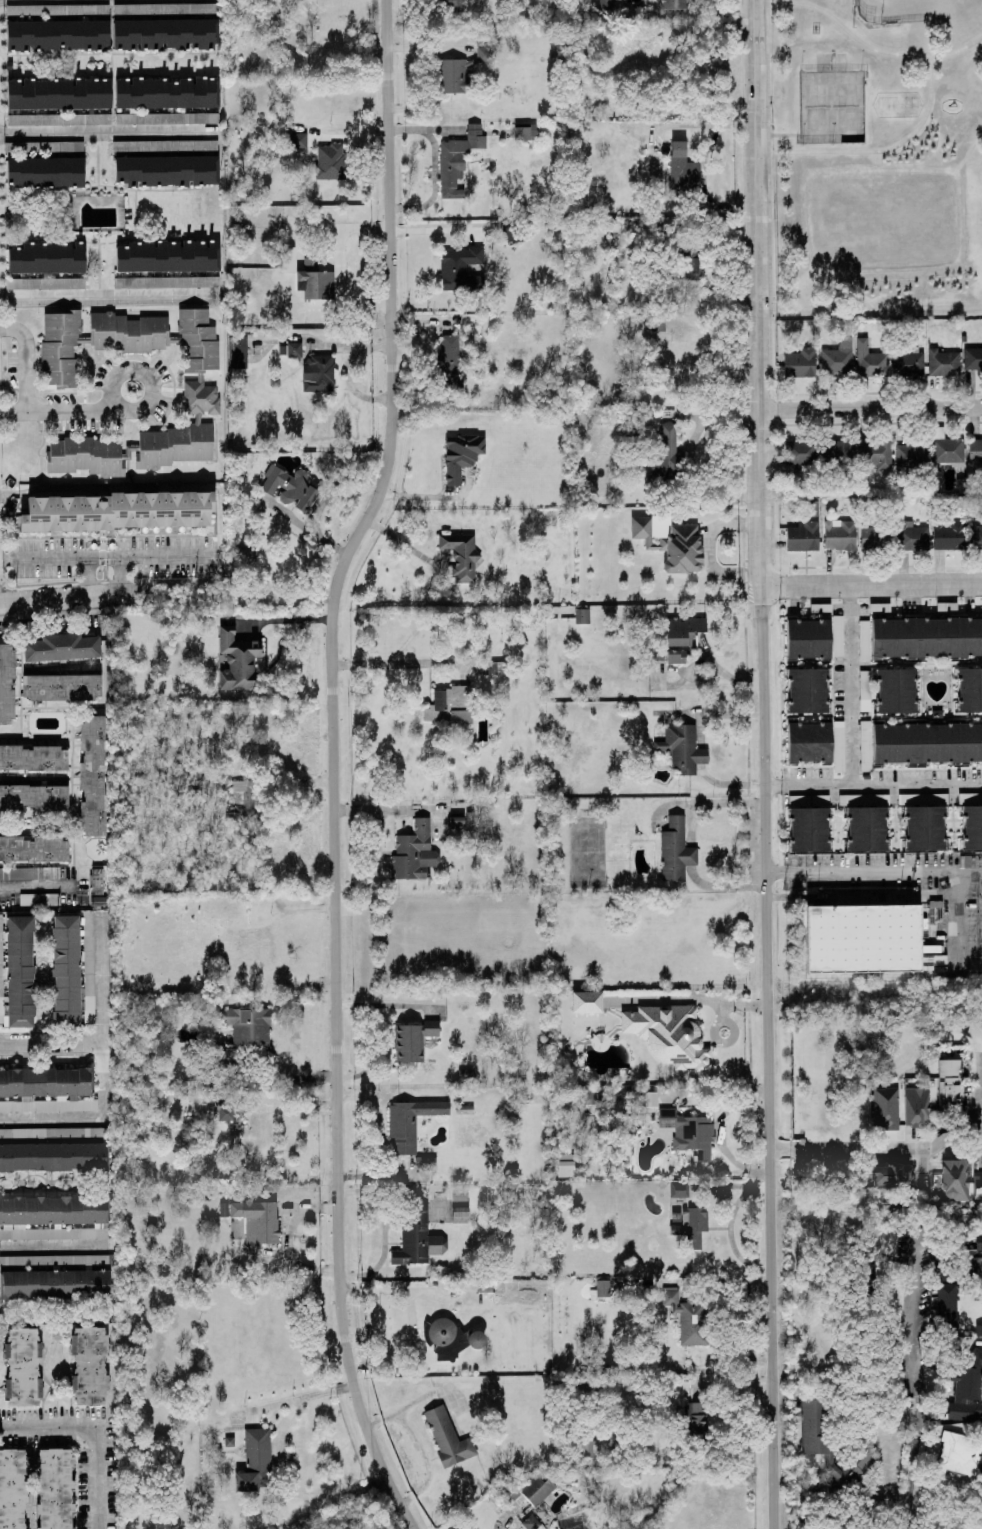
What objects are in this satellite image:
building: (672, 4)
building: (454, 5)
building: (165, 8)
building: (55, 9)
building: (164, 33)
road: (867, 45)
building: (462, 70)
building: (167, 92)
building: (59, 93)
park: (829, 106)
building: (113, 118)
road: (108, 130)
building: (525, 131)
road: (779, 133)
building: (296, 140)
building: (165, 145)
building: (43, 146)
road: (879, 150)
building: (457, 159)
park: (877, 159)
building: (330, 161)
road: (97, 162)
building: (167, 170)
building: (45, 171)
building: (683, 172)
road: (434, 230)
building: (512, 233)
building: (169, 255)
building: (288, 256)
building: (47, 257)
road: (98, 262)
building: (688, 264)
building: (460, 268)
building: (166, 281)
building: (315, 281)
building: (45, 283)
road: (109, 295)
building: (294, 349)
building: (237, 351)
building: (837, 358)
building: (973, 358)
building: (870, 359)
building: (450, 360)
building: (800, 362)
building: (943, 362)
building: (908, 363)
building: (318, 372)
building: (202, 400)
road: (873, 406)
road: (14, 409)
road: (34, 409)
building: (946, 447)
building: (800, 452)
building: (975, 452)
building: (666, 453)
building: (461, 454)
building: (911, 454)
building: (290, 487)
building: (117, 510)
building: (839, 534)
building: (949, 534)
building: (802, 536)
building: (912, 536)
building: (975, 536)
building: (871, 537)
building: (671, 543)
building: (245, 554)
road: (115, 555)
building: (462, 555)
road: (122, 575)
road: (90, 576)
road: (873, 585)
road: (89, 597)
building: (947, 609)
building: (820, 610)
building: (880, 610)
building: (582, 615)
road: (286, 620)
building: (863, 629)
building: (837, 635)
building: (681, 636)
building: (926, 637)
building: (808, 639)
building: (62, 646)
building: (237, 660)
road: (381, 663)
building: (494, 667)
building: (6, 683)
road: (851, 685)
building: (61, 686)
building: (969, 689)
building: (807, 690)
building: (896, 690)
building: (456, 705)
building: (809, 742)
building: (927, 743)
building: (838, 745)
building: (682, 747)
building: (865, 751)
building: (33, 758)
road: (765, 764)
road: (333, 765)
building: (93, 774)
road: (873, 784)
building: (34, 796)
building: (905, 797)
building: (243, 799)
building: (924, 827)
building: (972, 827)
building: (867, 828)
building: (809, 829)
building: (33, 848)
building: (676, 850)
building: (414, 852)
road: (874, 869)
building: (27, 872)
road: (36, 888)
road: (956, 930)
building: (867, 941)
building: (935, 953)
building: (73, 968)
building: (17, 972)
building: (586, 1001)
road: (723, 1002)
building: (244, 1032)
building: (669, 1034)
building: (413, 1040)
road: (53, 1043)
road: (106, 1067)
road: (278, 1076)
building: (950, 1084)
building: (47, 1089)
building: (650, 1098)
building: (915, 1105)
building: (885, 1107)
building: (226, 1113)
building: (410, 1122)
building: (52, 1132)
building: (689, 1132)
road: (880, 1148)
building: (53, 1156)
building: (892, 1174)
building: (954, 1179)
building: (977, 1186)
building: (679, 1189)
building: (224, 1208)
building: (460, 1214)
building: (53, 1217)
building: (257, 1219)
building: (691, 1225)
building: (418, 1238)
road: (53, 1246)
building: (974, 1259)
building: (54, 1283)
building: (602, 1288)
building: (947, 1306)
building: (687, 1317)
road: (910, 1329)
building: (450, 1337)
building: (89, 1364)
building: (22, 1366)
building: (967, 1389)
road: (302, 1398)
building: (693, 1418)
road: (900, 1419)
road: (98, 1427)
building: (447, 1437)
road: (420, 1447)
building: (588, 1448)
building: (829, 1450)
building: (959, 1453)
building: (255, 1461)
road: (913, 1461)
road: (886, 1465)
building: (12, 1488)
building: (55, 1488)
building: (532, 1492)
road: (888, 1498)
building: (531, 1522)

